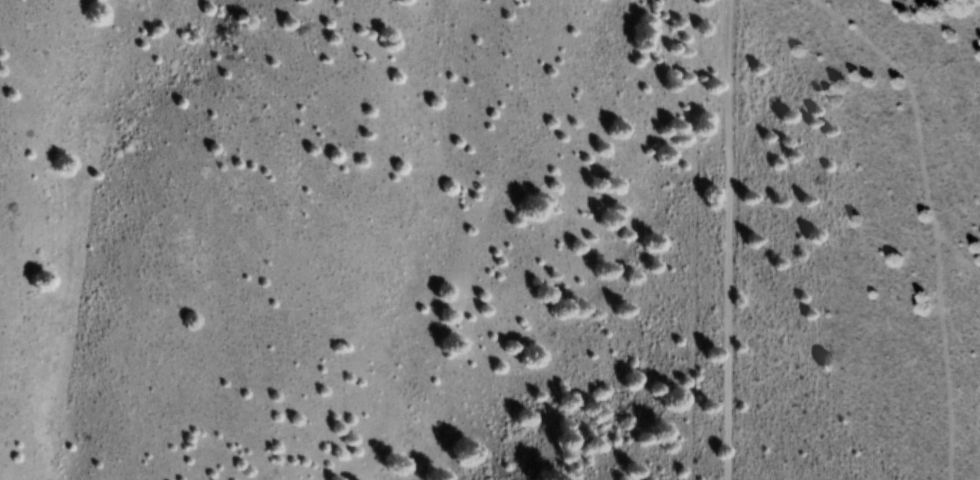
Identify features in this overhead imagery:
road: (915, 236)
road: (681, 240)

